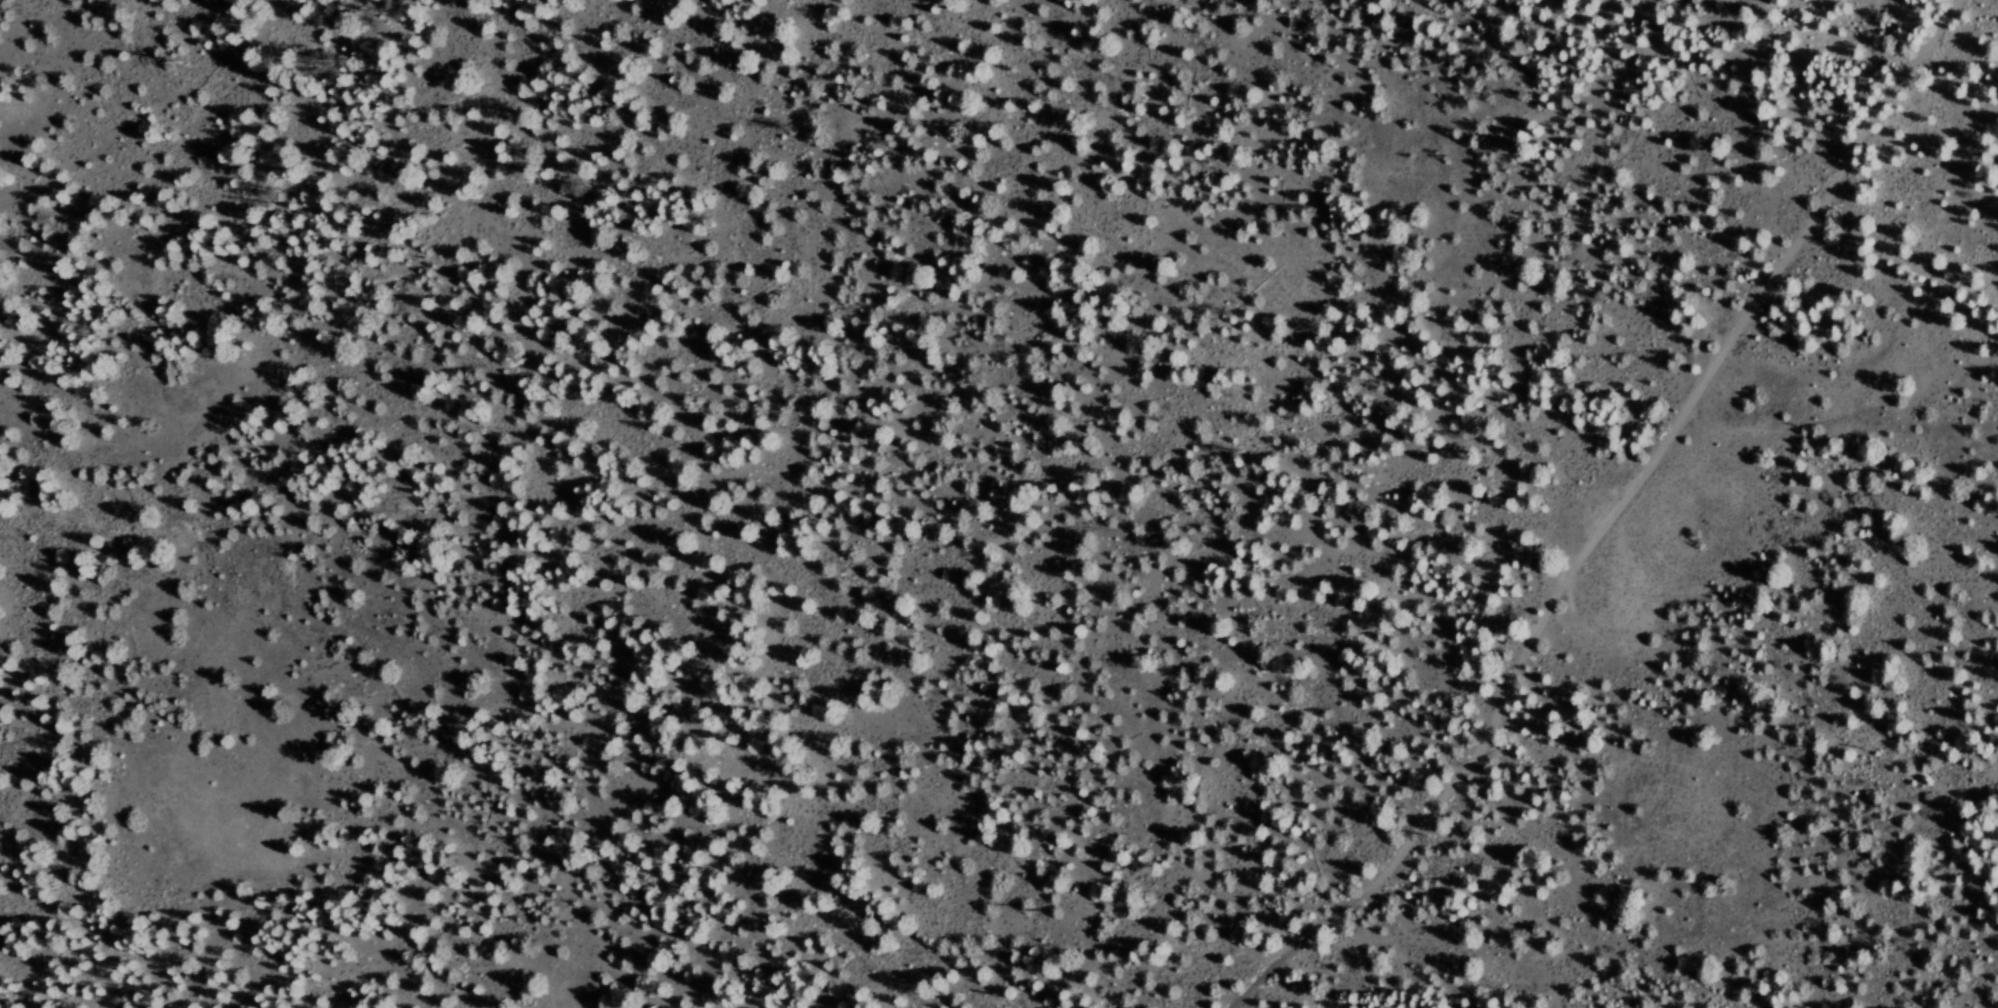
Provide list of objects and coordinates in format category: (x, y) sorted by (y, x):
road: (156, 112)
road: (1616, 520)

